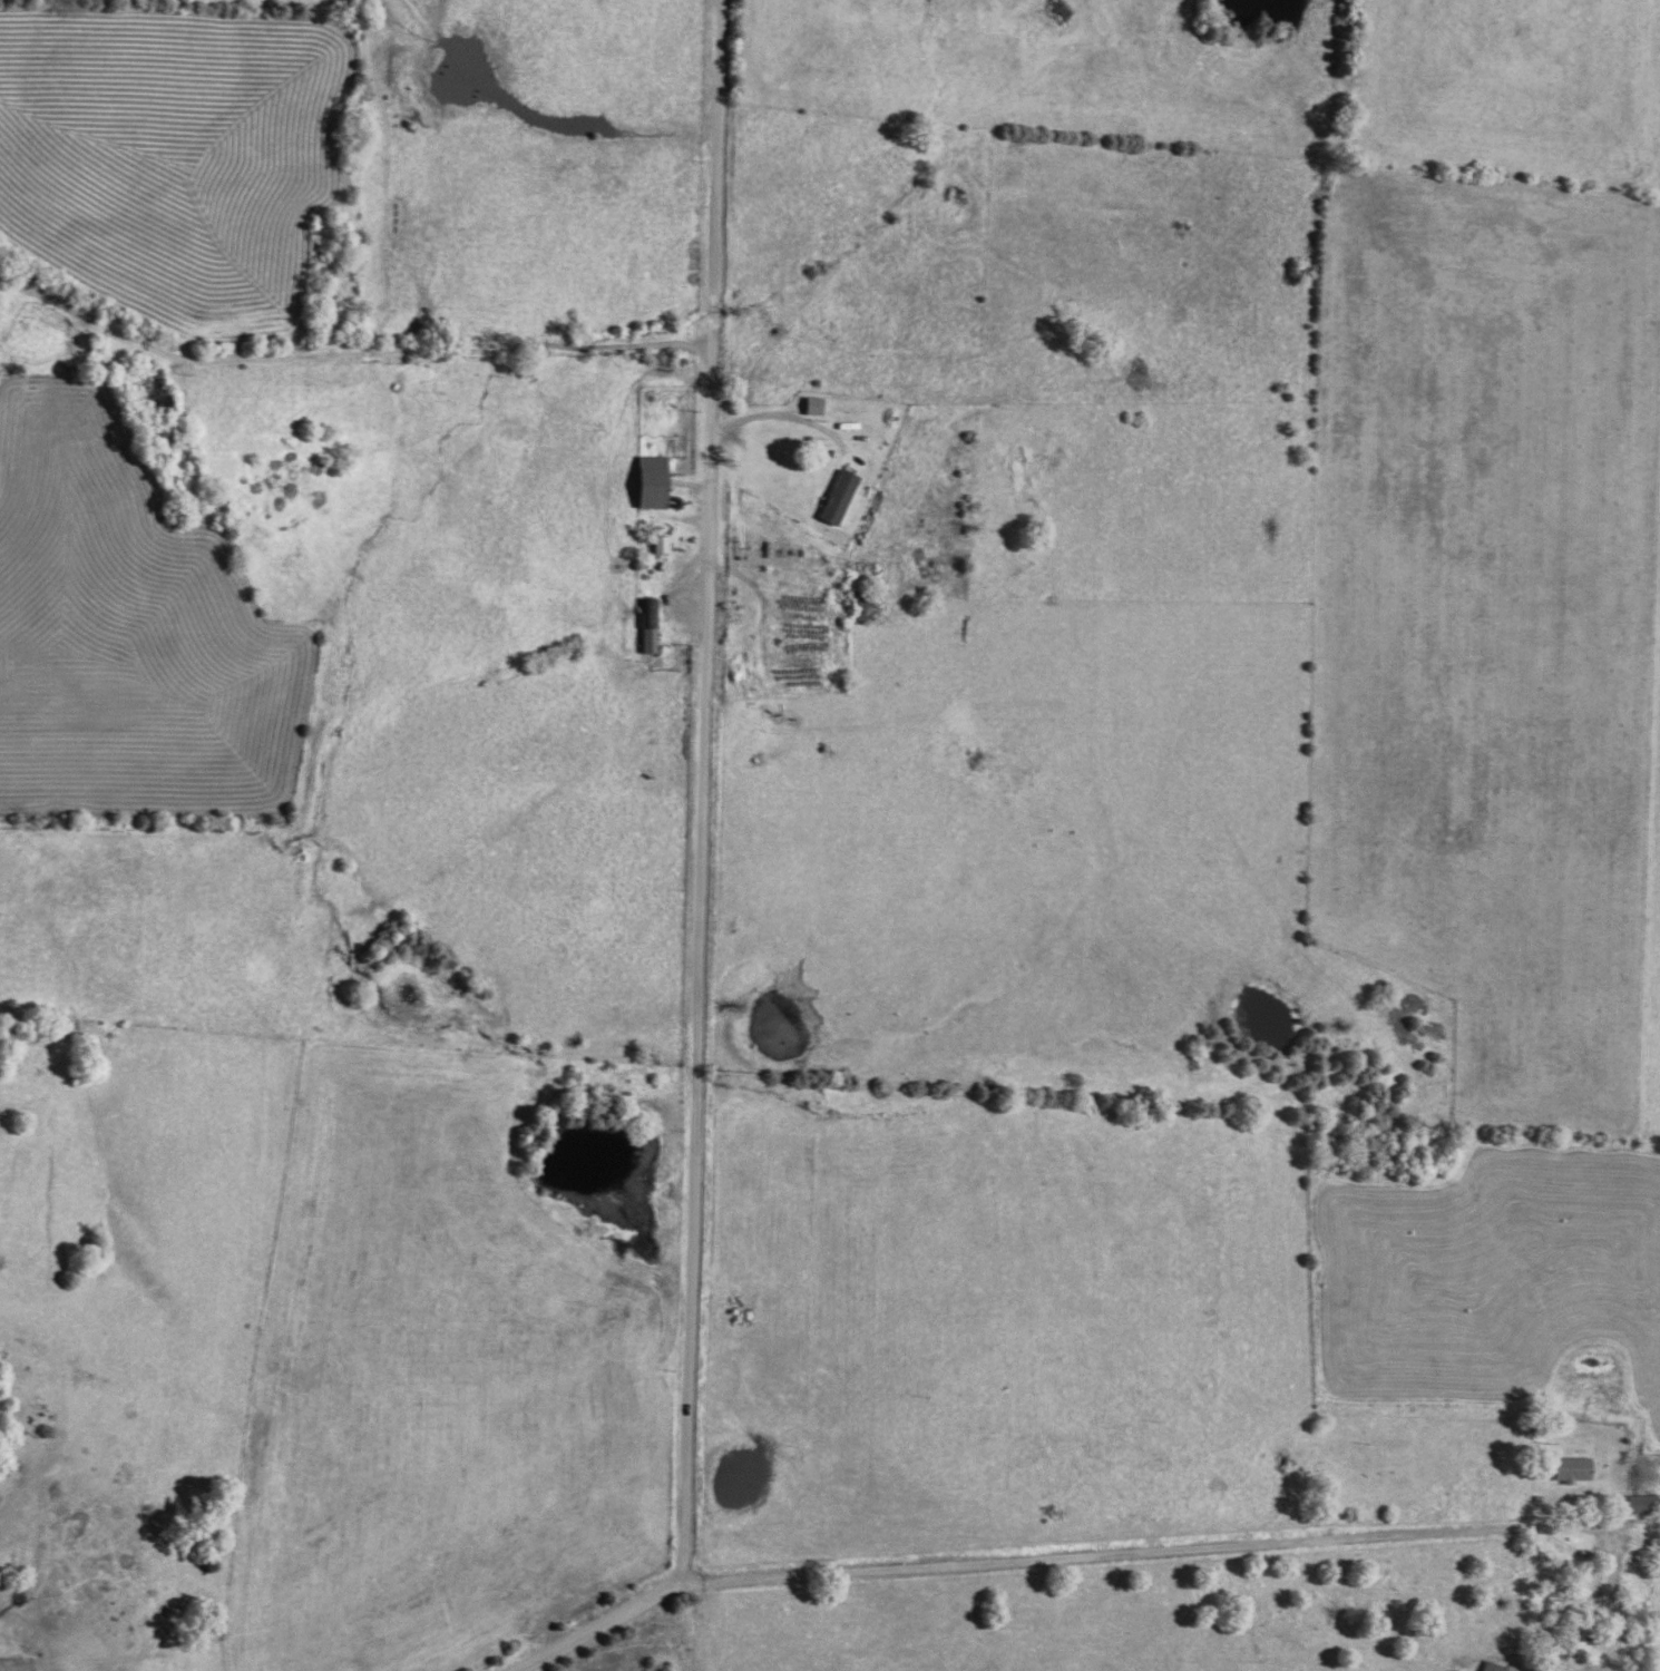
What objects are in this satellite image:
road: (445, 383)
building: (809, 405)
building: (647, 481)
building: (834, 496)
building: (655, 544)
building: (646, 625)
road: (696, 886)
building: (1572, 1468)
building: (1640, 1504)
road: (1584, 1553)
road: (1112, 1554)
building: (1492, 1667)

